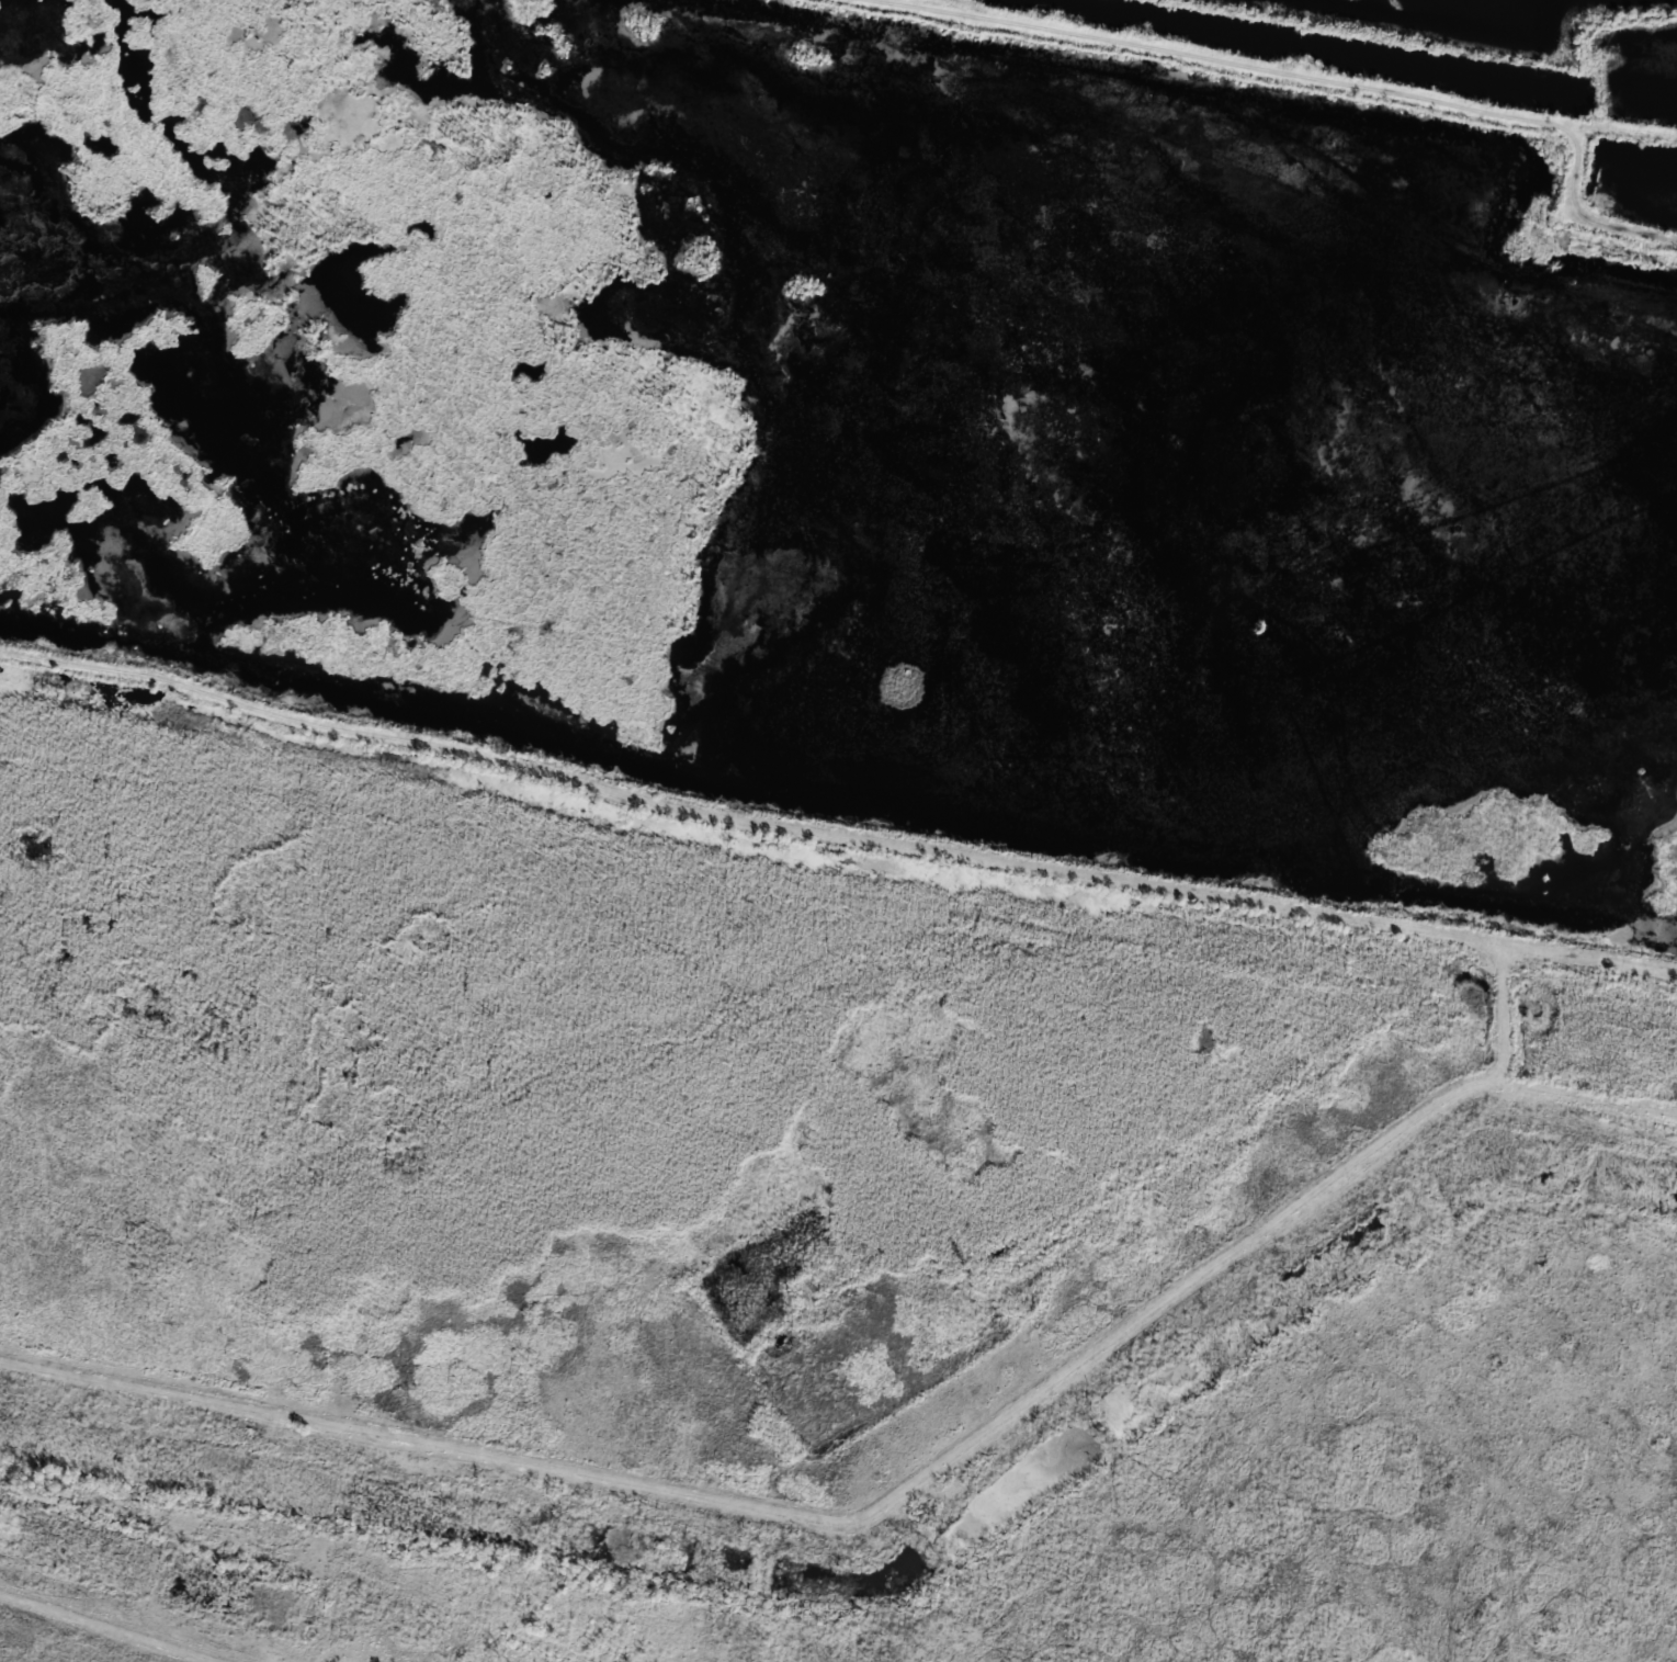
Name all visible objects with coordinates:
road: (1319, 76)
road: (835, 835)

